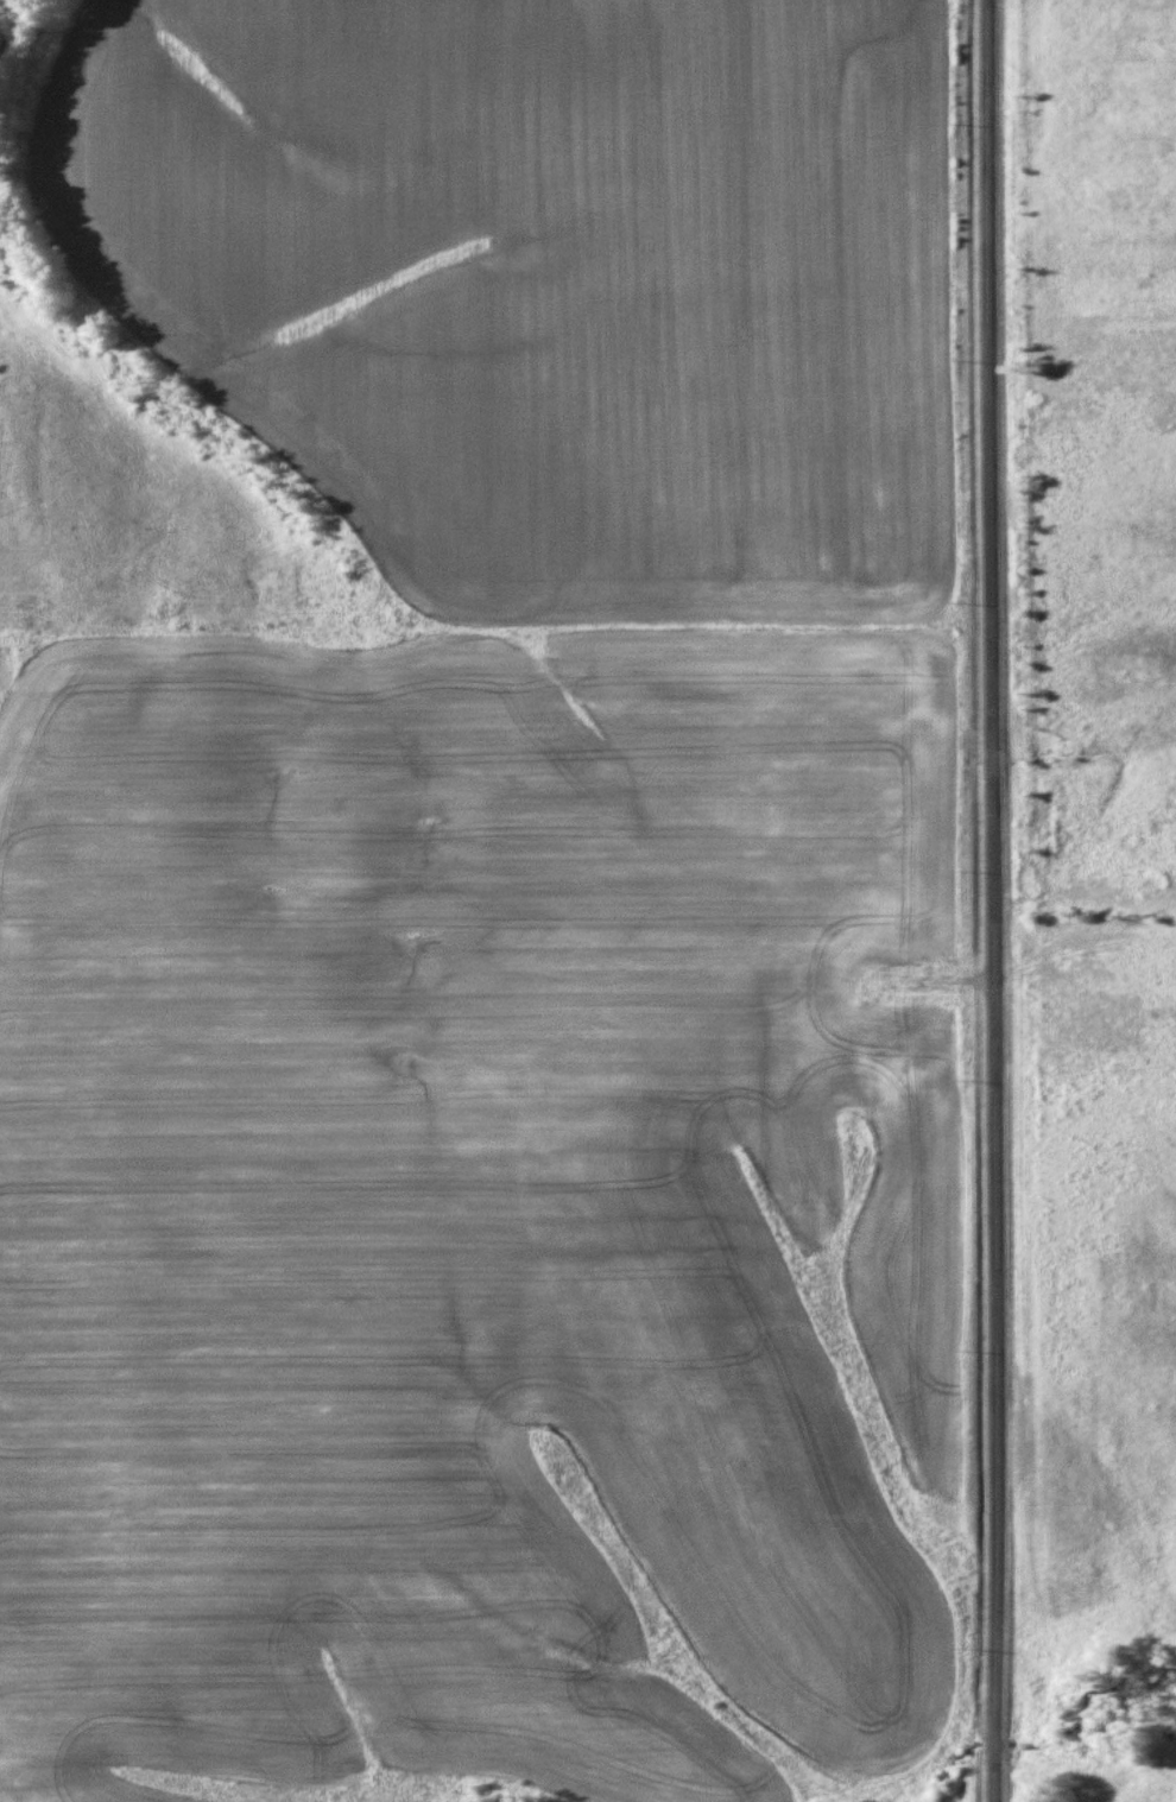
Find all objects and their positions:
road: (999, 900)

